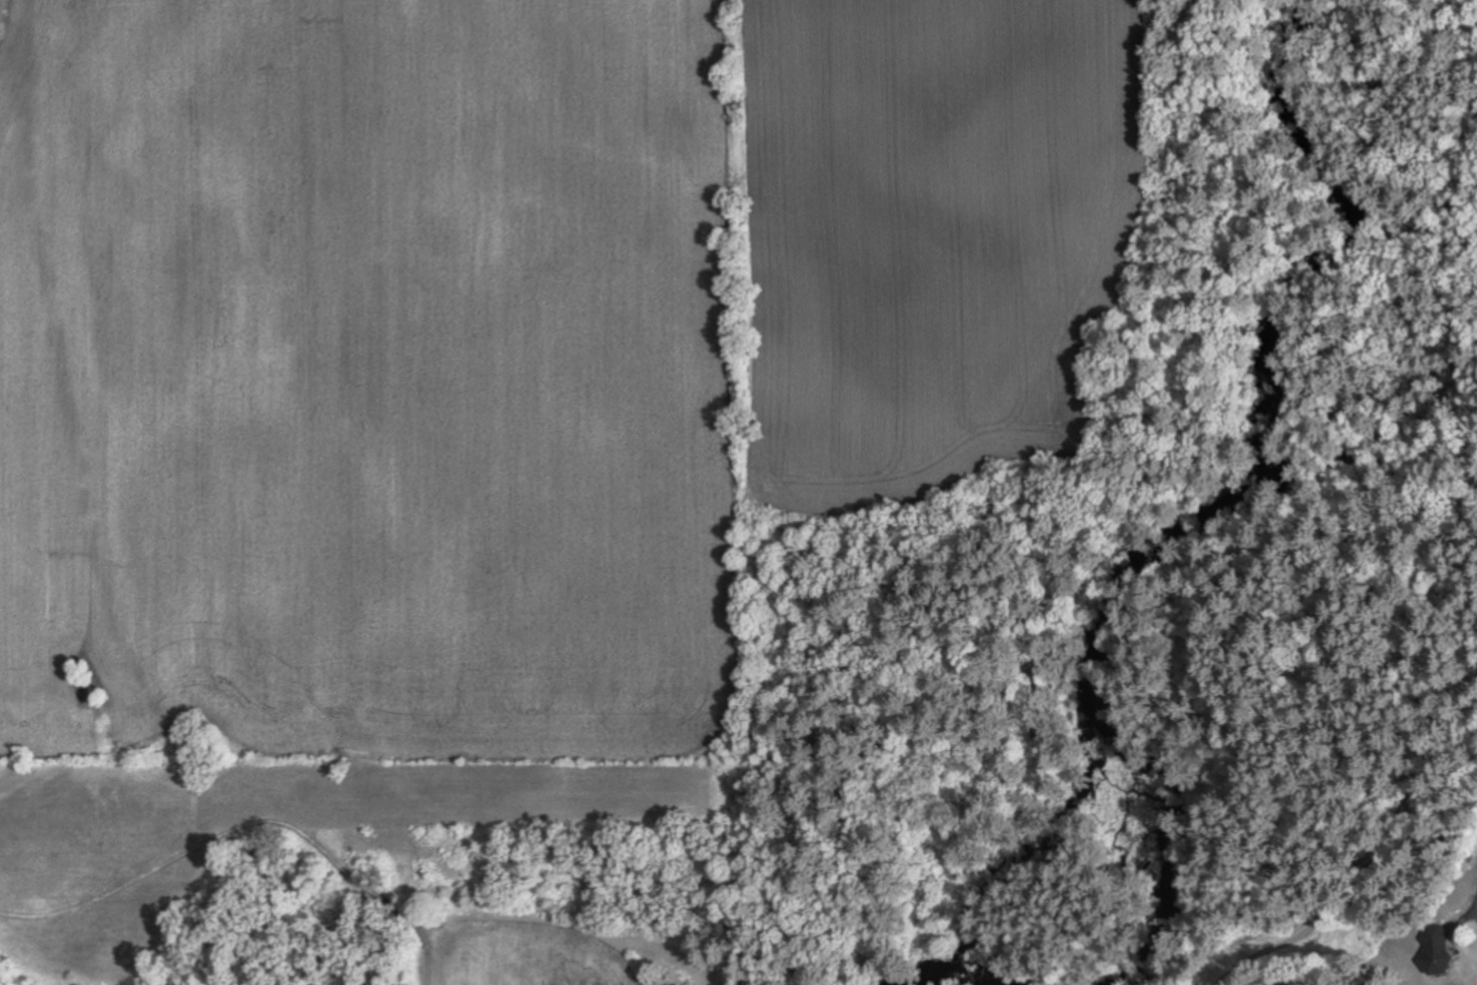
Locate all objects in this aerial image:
road: (1381, 798)
building: (1432, 950)

